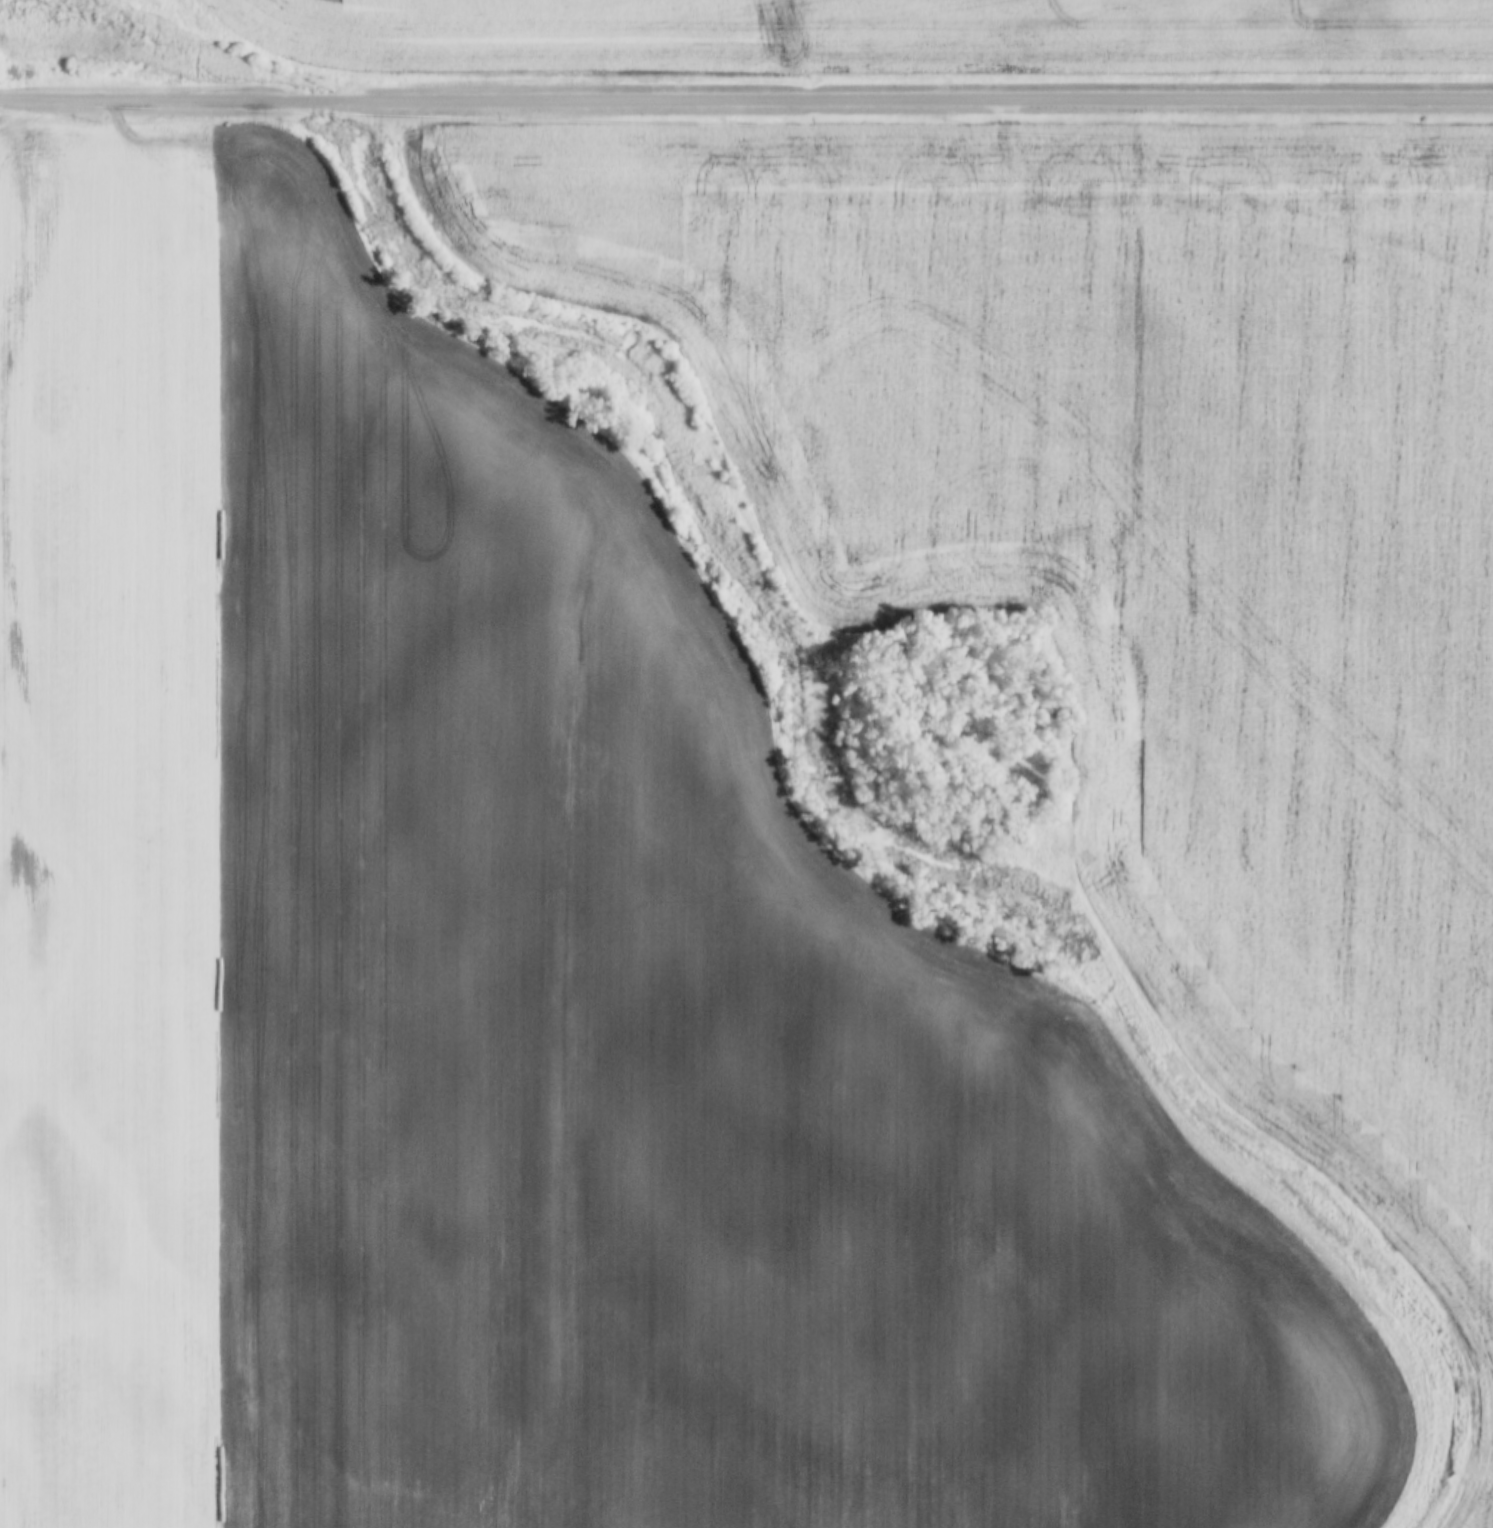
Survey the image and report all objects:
road: (746, 103)

